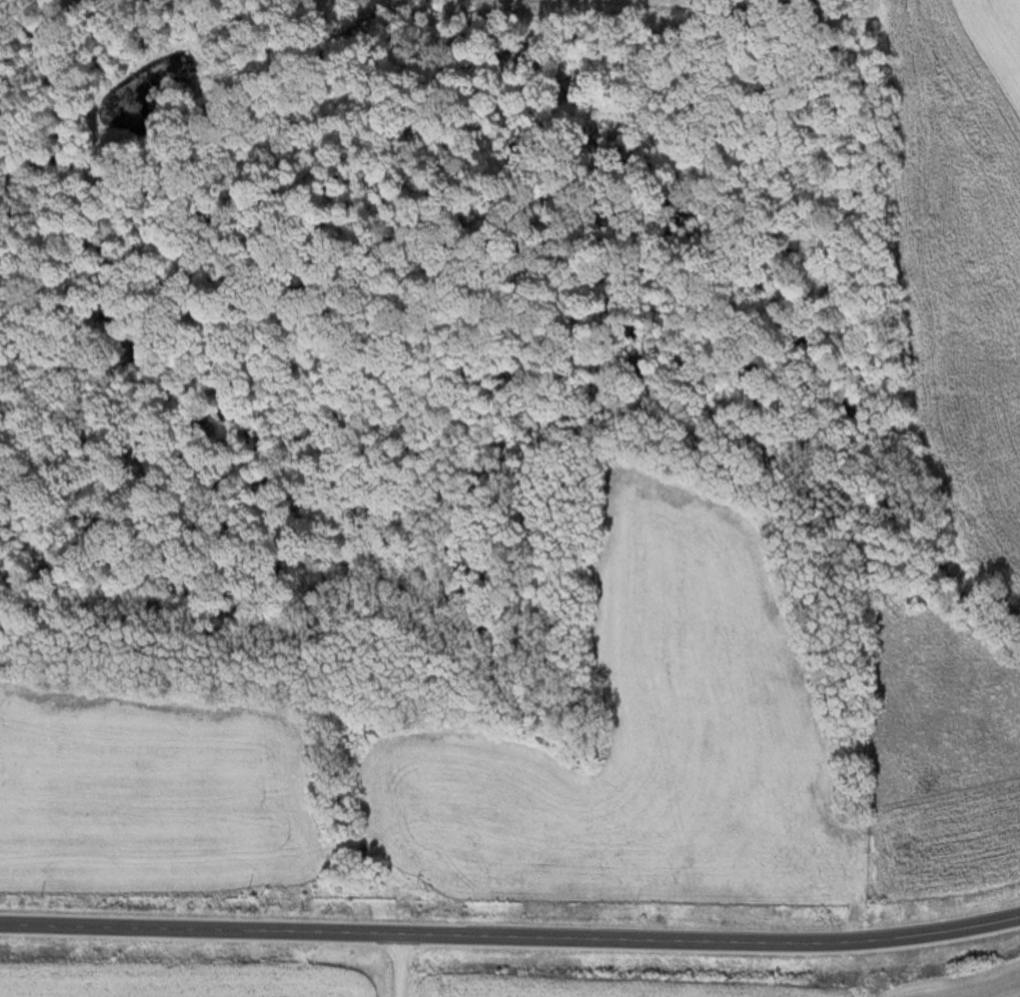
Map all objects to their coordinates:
road: (511, 943)
road: (396, 970)

